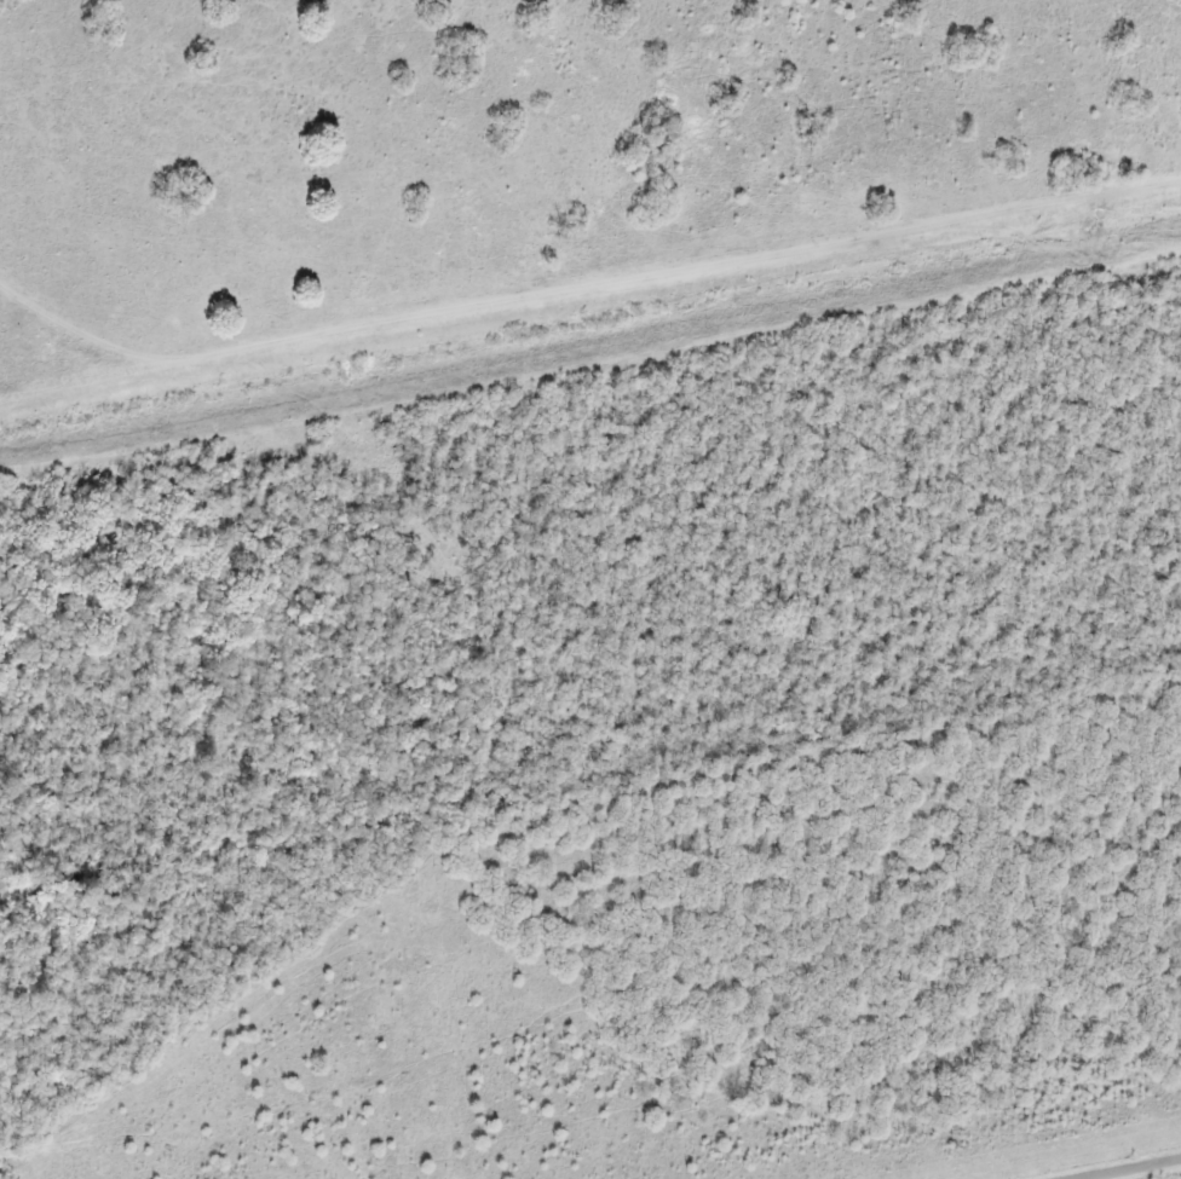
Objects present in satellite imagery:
road: (1124, 1167)

